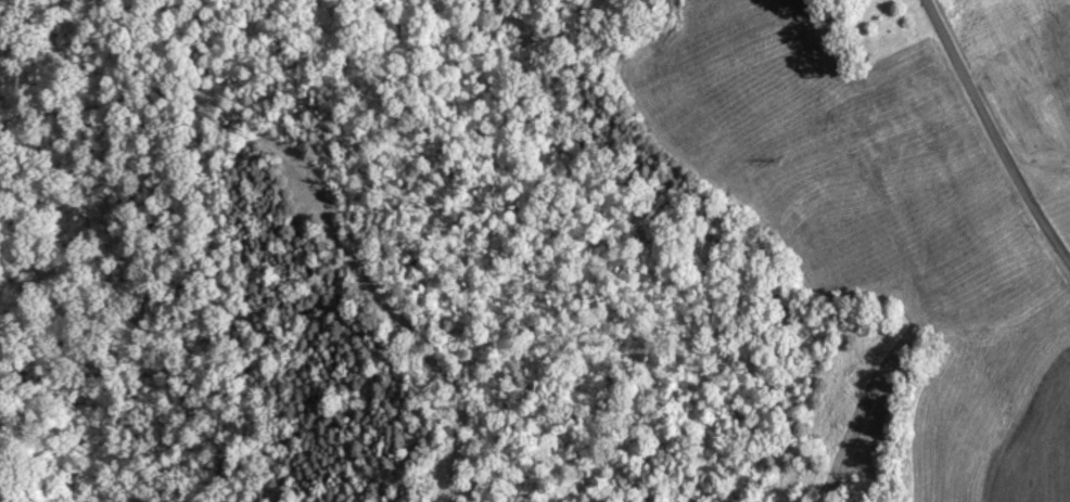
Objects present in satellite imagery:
road: (1001, 129)

